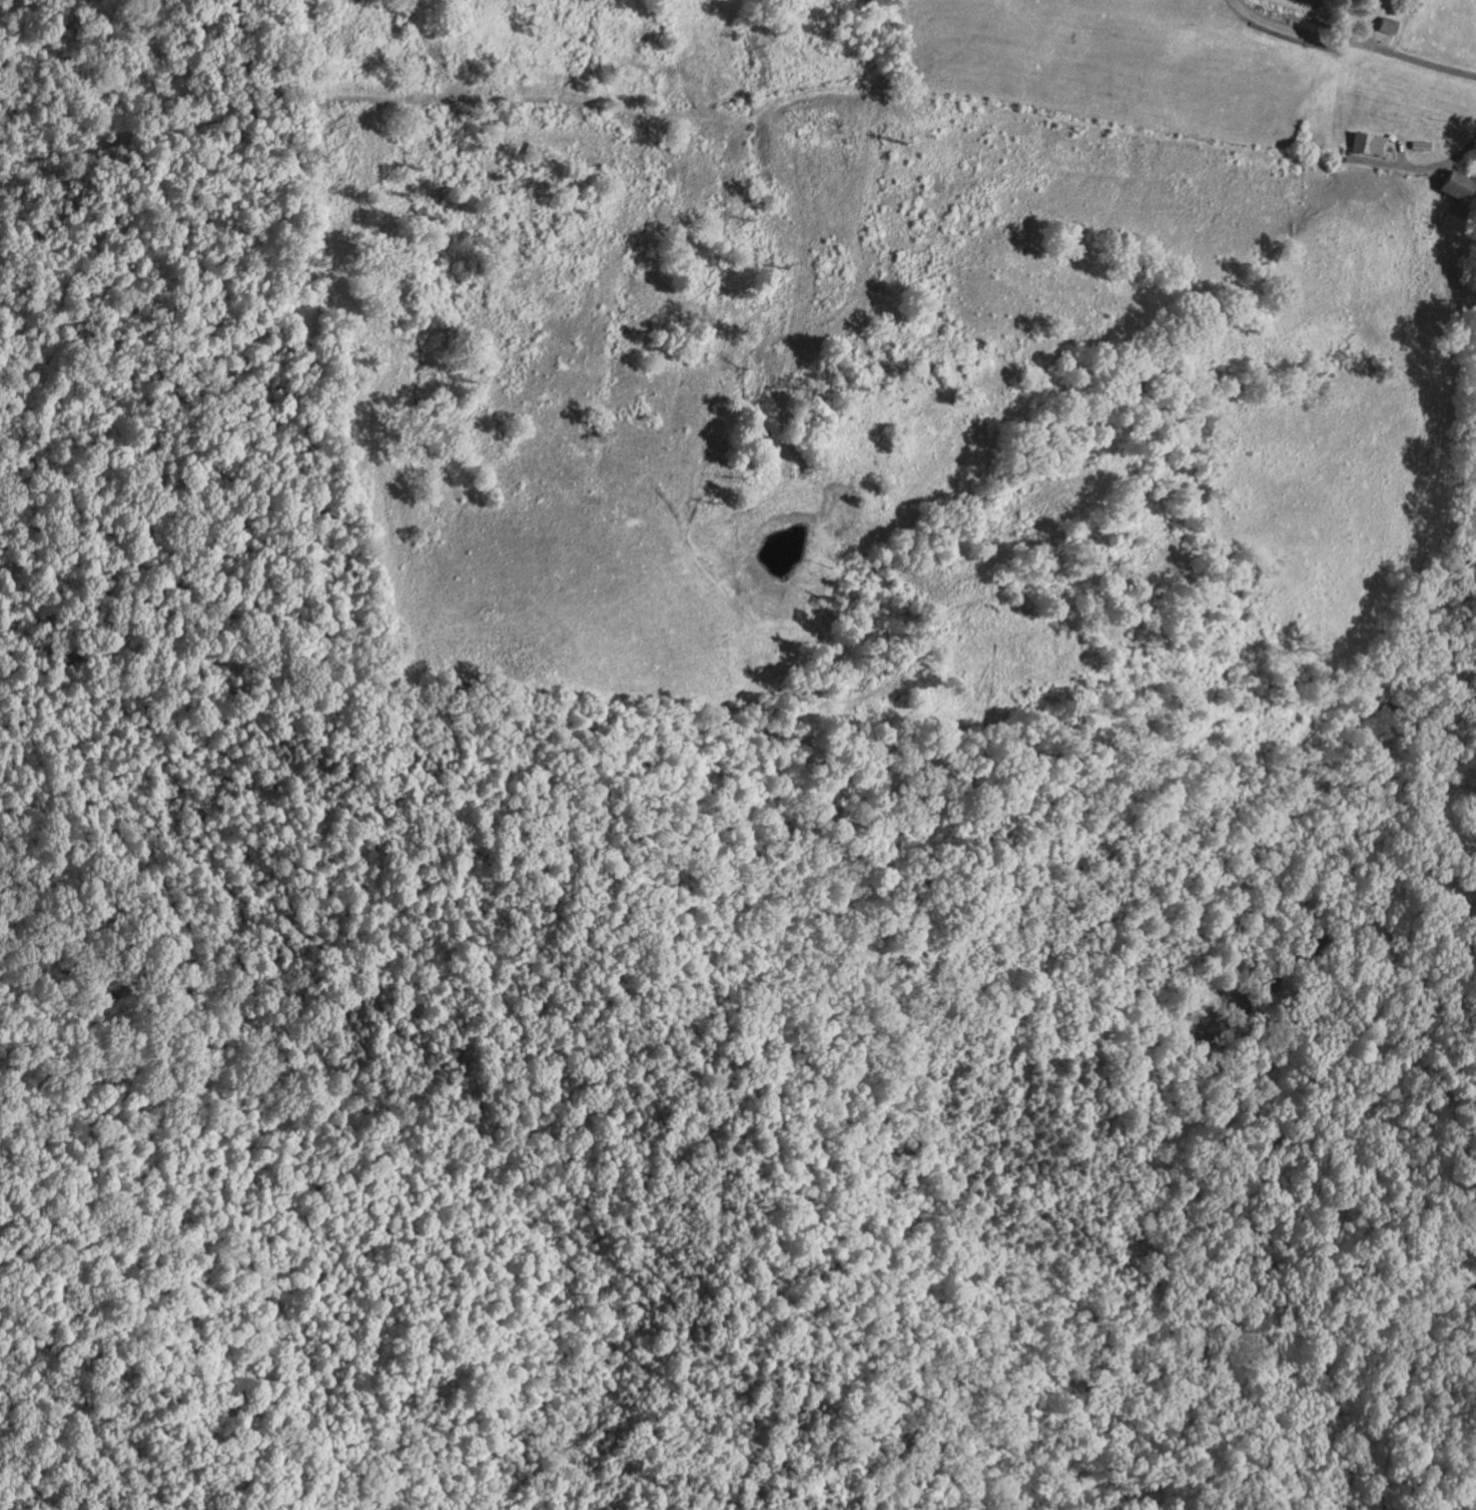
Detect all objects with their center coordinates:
road: (1352, 46)
road: (1434, 164)

